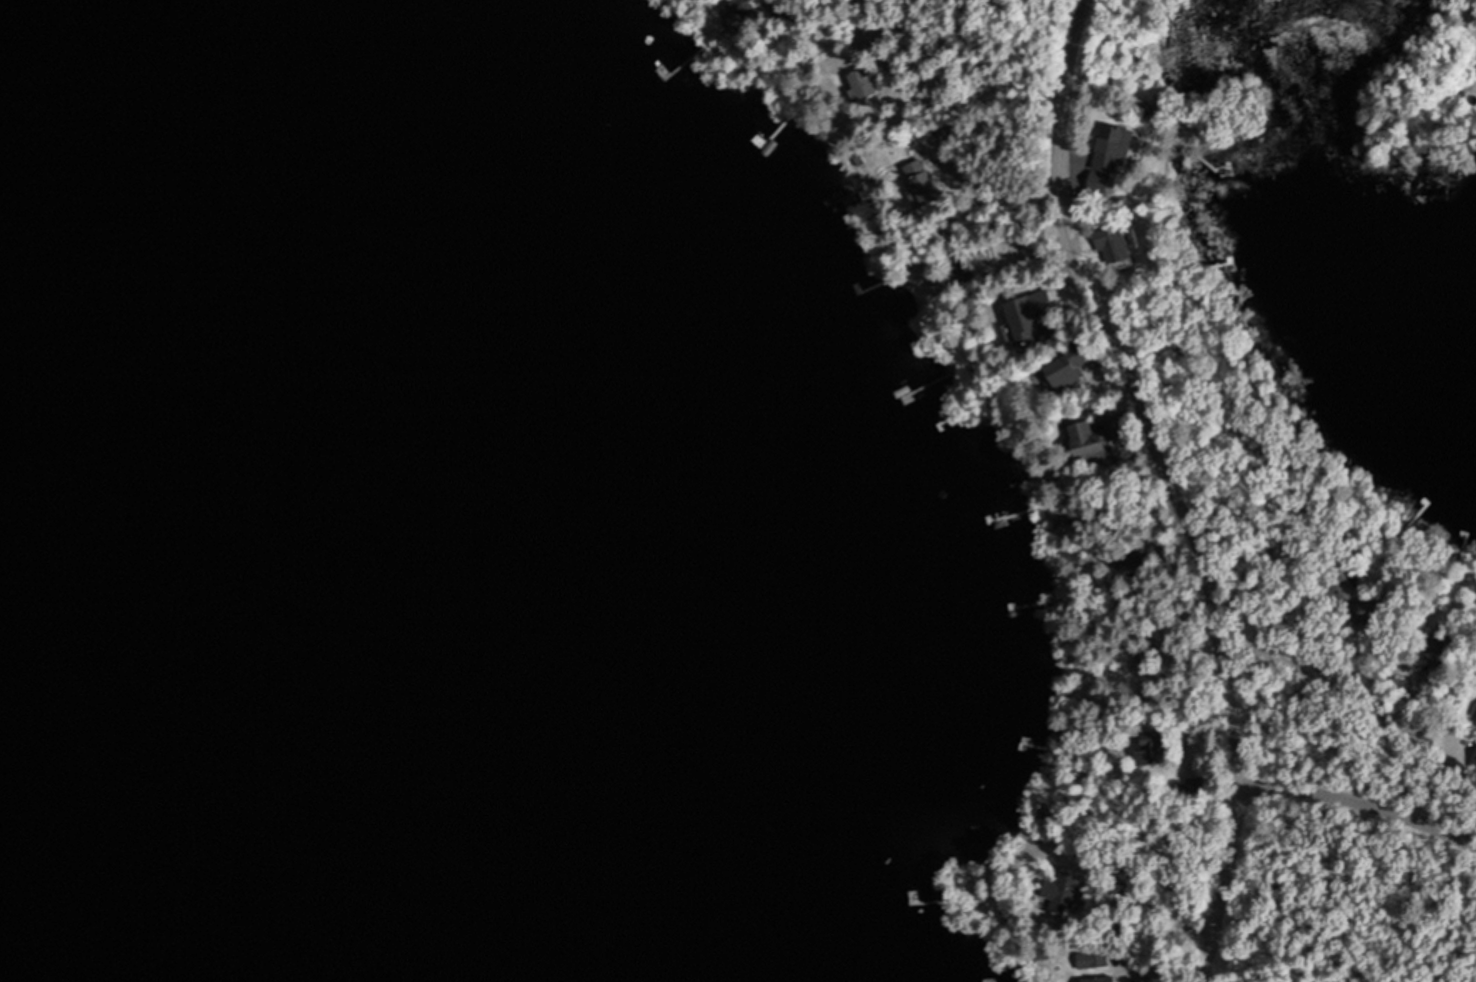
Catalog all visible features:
building: (739, 15)
building: (895, 29)
building: (862, 83)
building: (982, 263)
building: (1012, 322)
building: (1077, 365)
building: (1113, 424)
road: (1174, 485)
building: (1447, 647)
building: (1149, 656)
building: (1300, 702)
building: (1153, 747)
building: (1468, 750)
road: (1361, 796)
building: (1067, 893)
building: (1094, 959)
building: (1101, 979)

